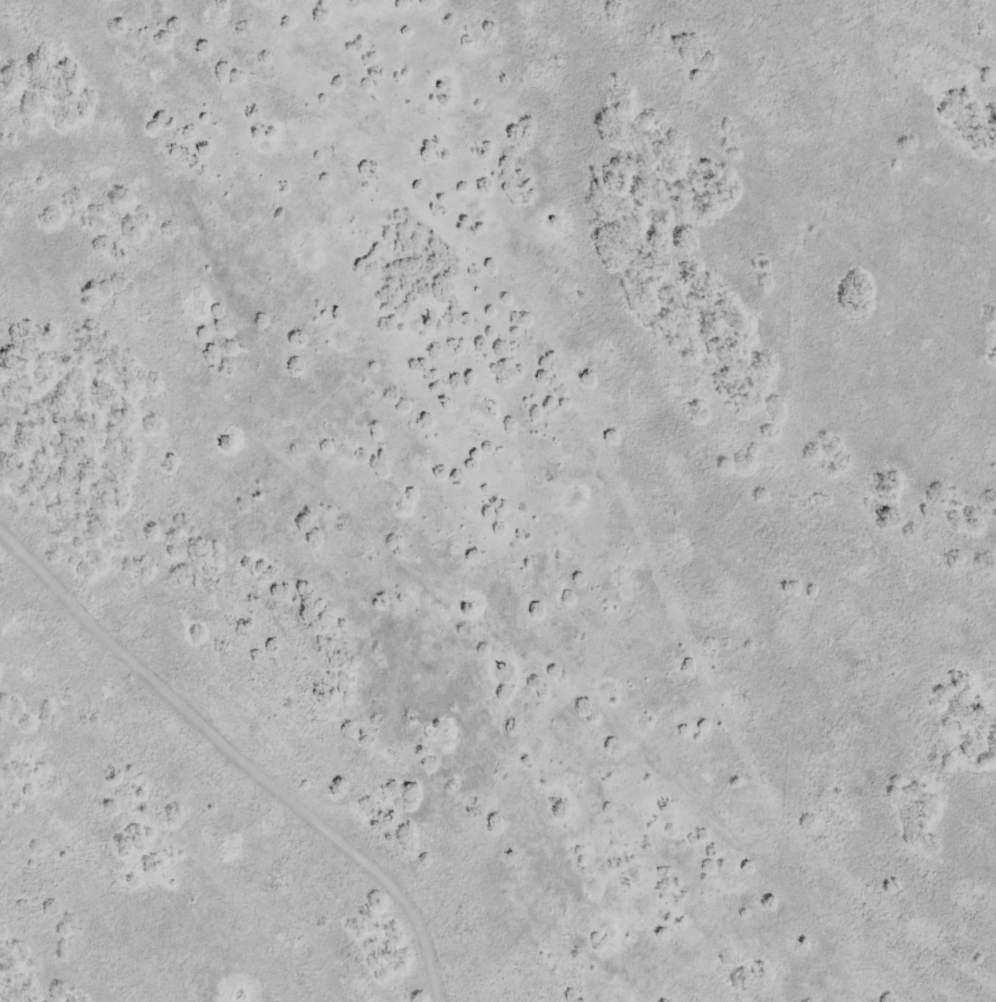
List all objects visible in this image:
road: (279, 761)

